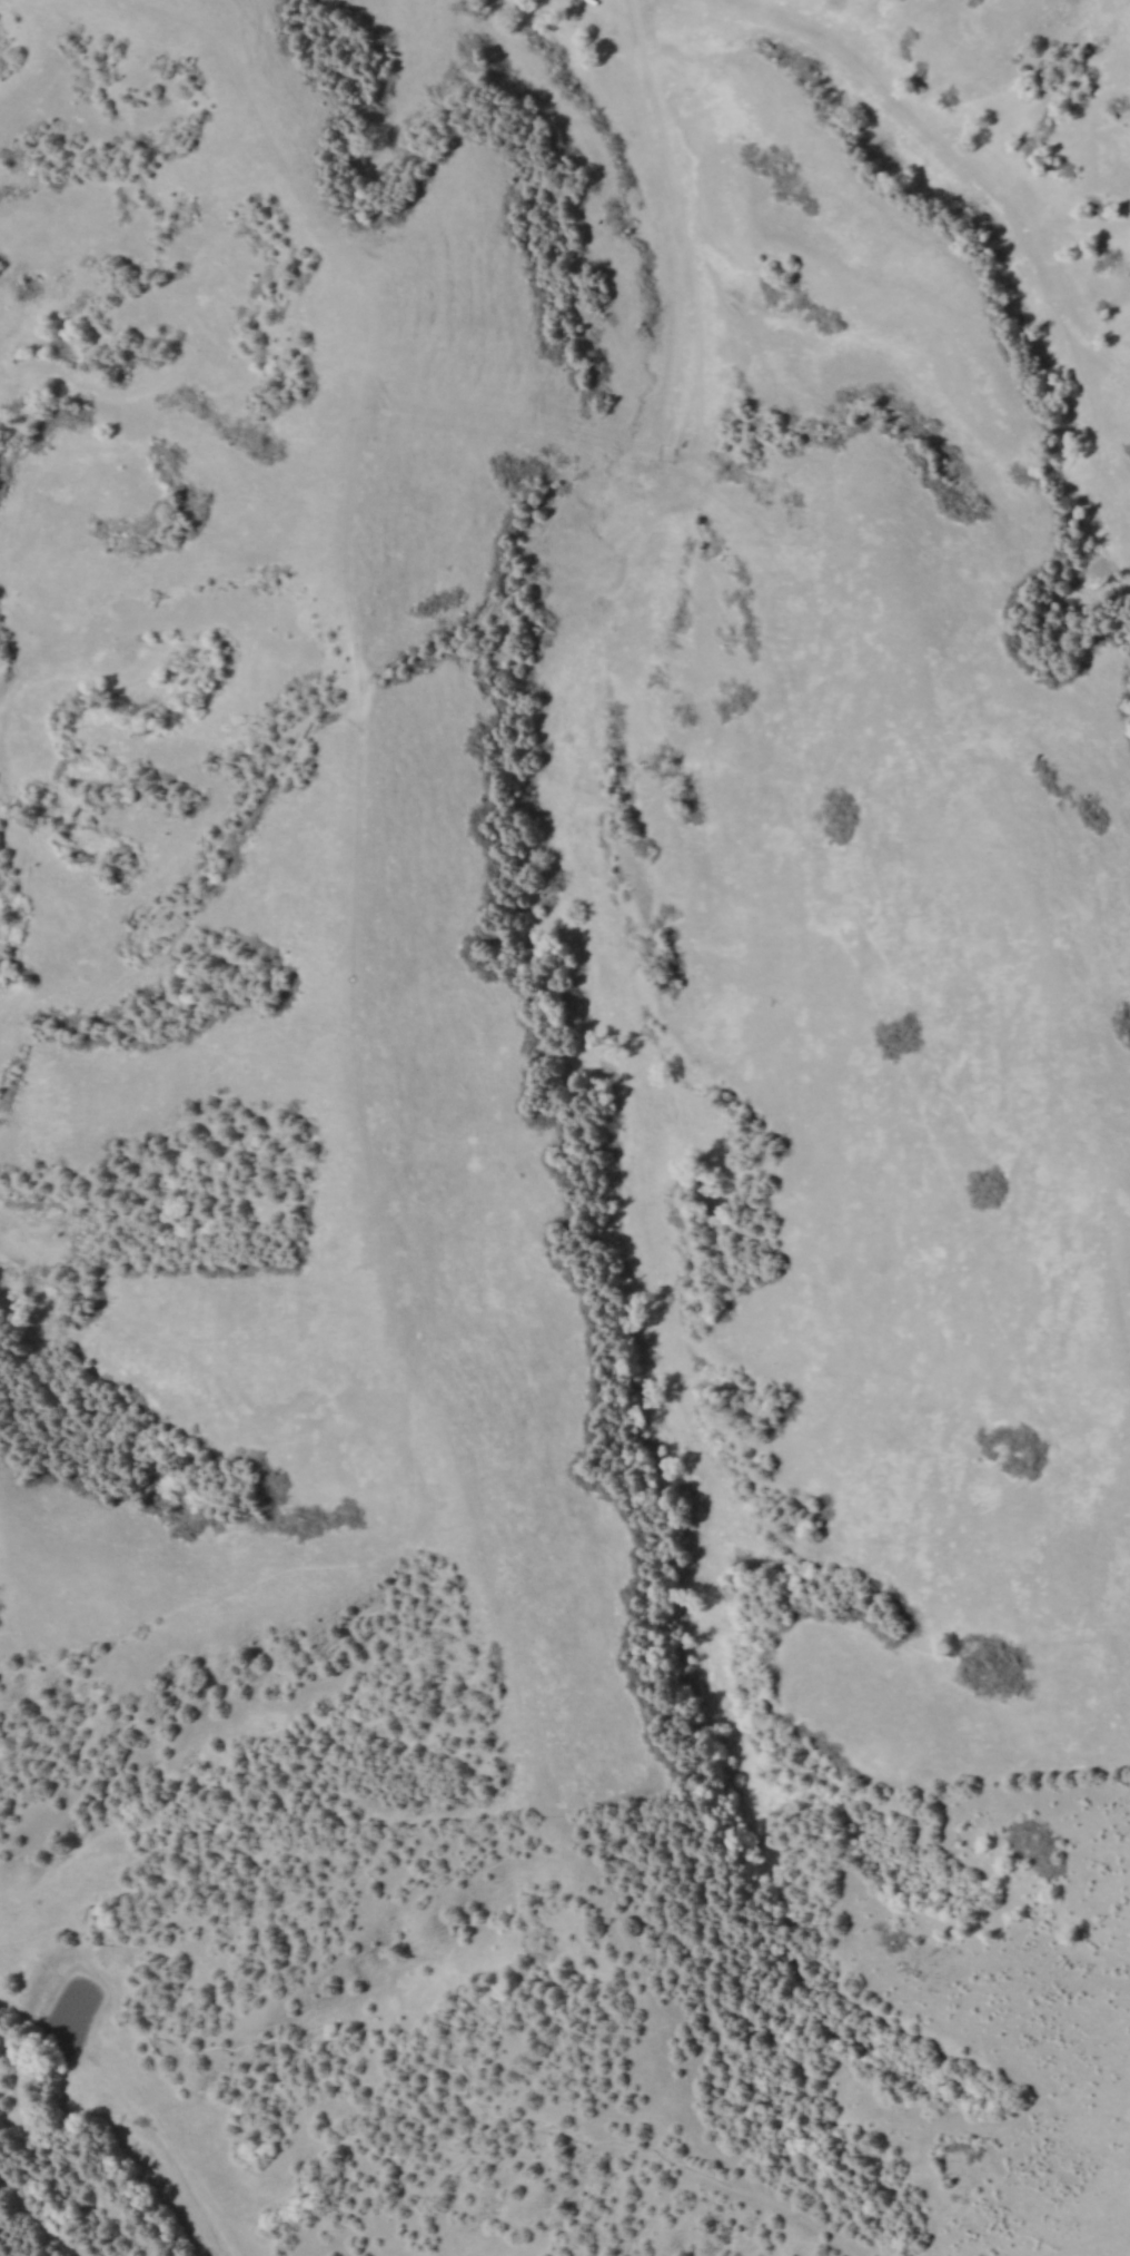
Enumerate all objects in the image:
road: (86, 1952)
crop: (584, 2036)
road: (242, 2047)
road: (591, 2141)
road: (175, 2142)
road: (27, 2215)

